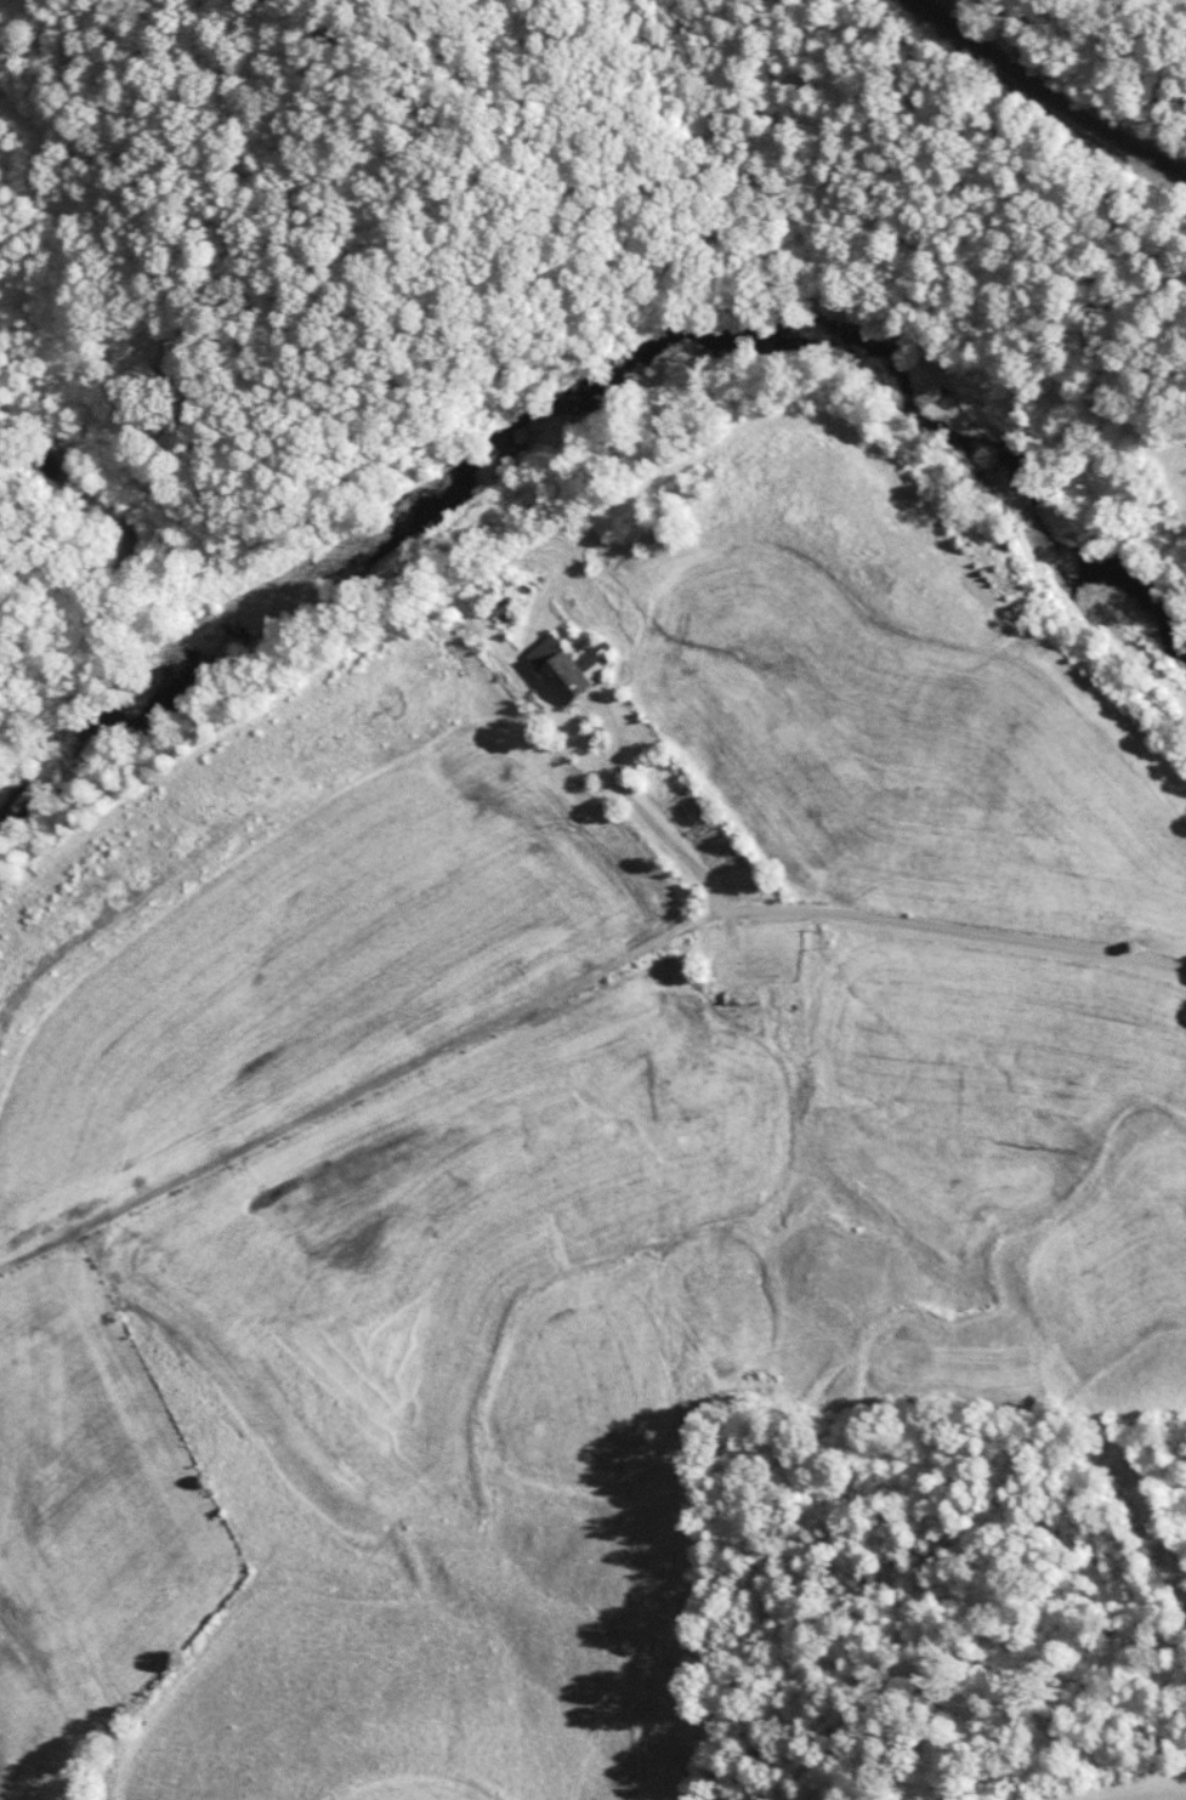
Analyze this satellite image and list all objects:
railway: (1055, 87)
river: (605, 357)
building: (573, 664)
road: (869, 918)
road: (359, 1086)

